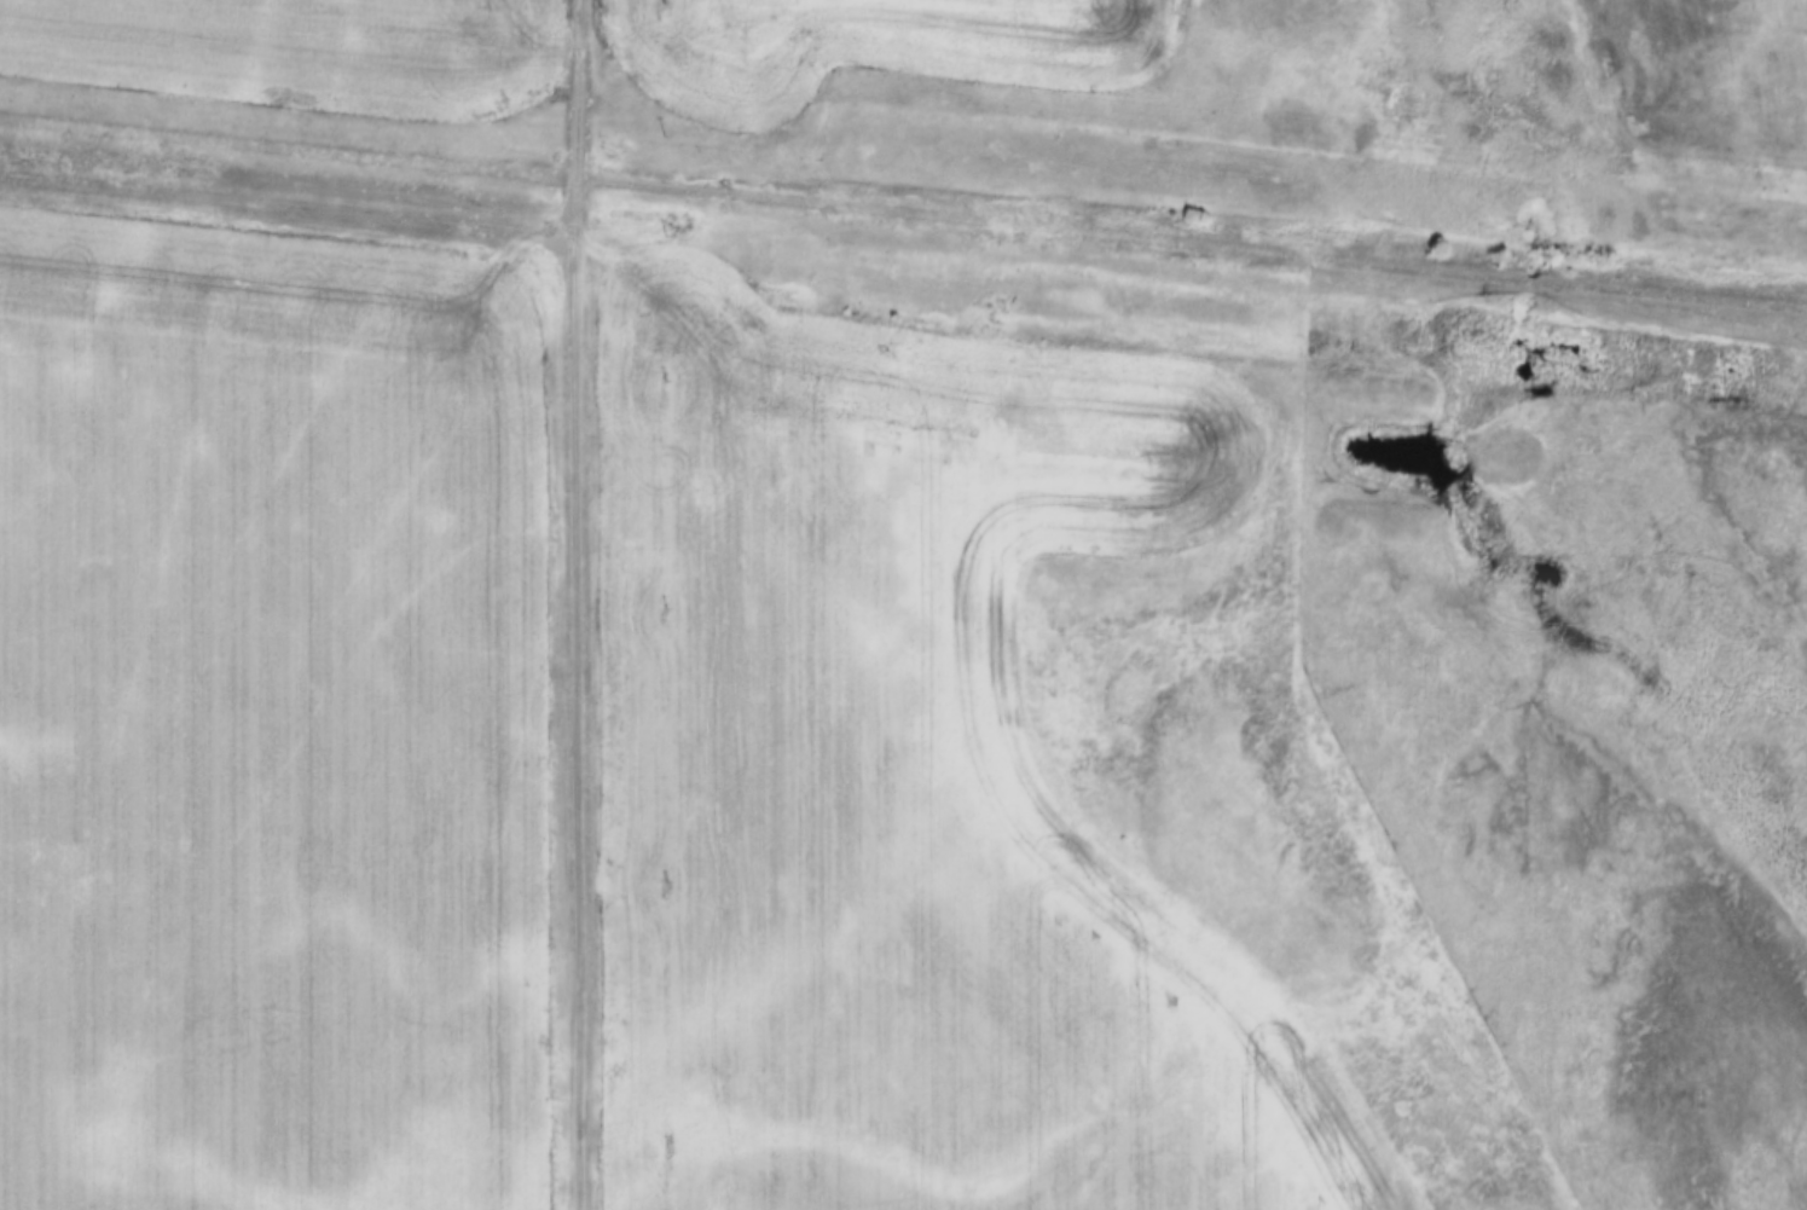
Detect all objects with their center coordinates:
road: (580, 604)

